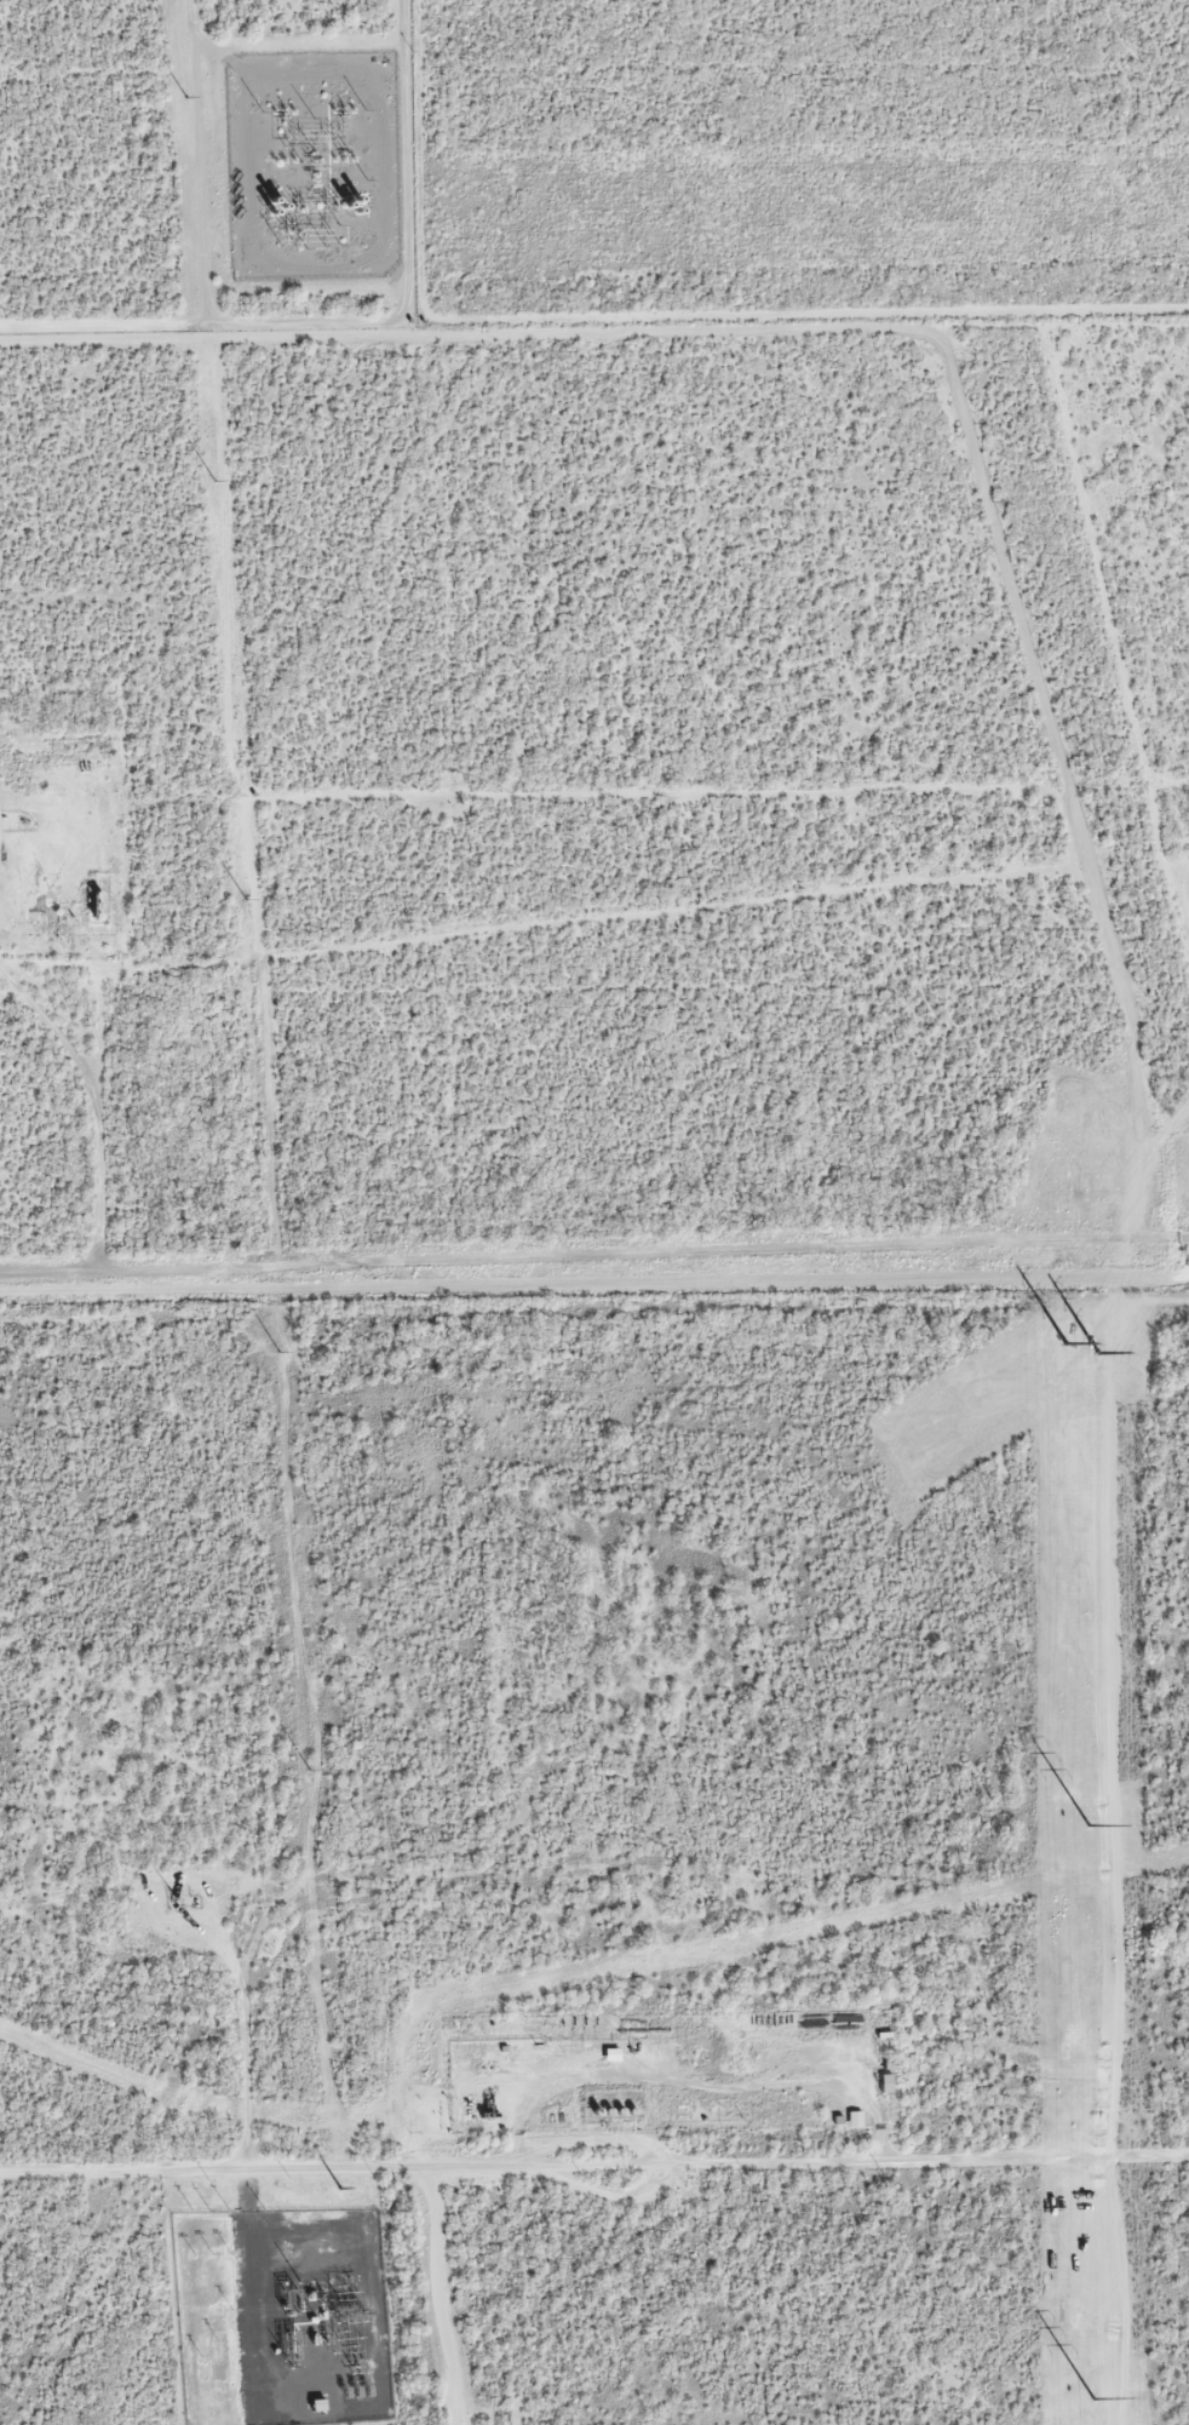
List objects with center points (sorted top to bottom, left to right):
power tower: (183, 97)
power tower: (211, 480)
power tower: (242, 899)
road: (594, 1290)
power tower: (276, 1351)
power tower: (1099, 1352)
power tower: (306, 1770)
power tower: (1089, 1824)
building: (889, 2077)
road: (594, 2169)
power tower: (338, 2188)
power substation: (280, 2315)
power tower: (1092, 2397)

